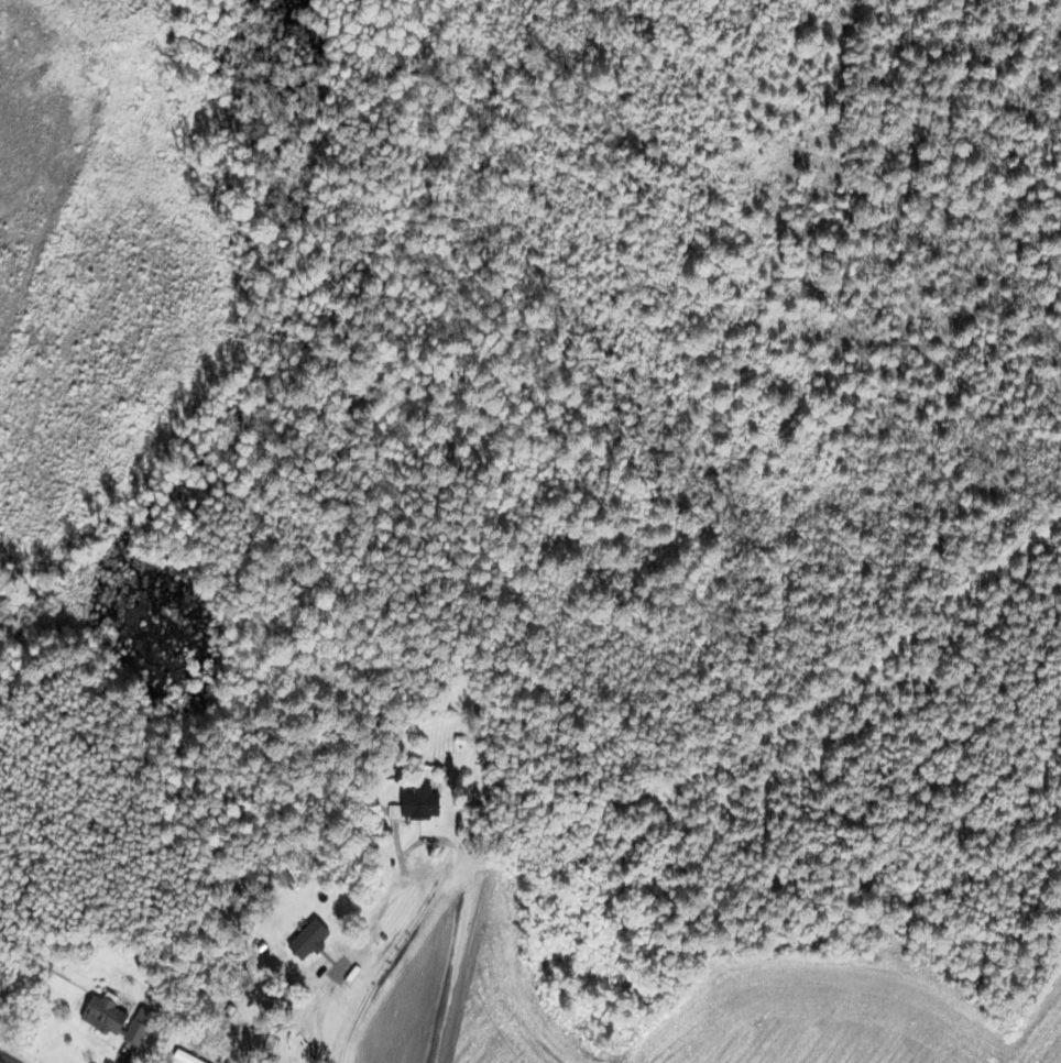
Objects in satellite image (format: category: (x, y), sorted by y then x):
building: (393, 770)
building: (412, 806)
road: (430, 836)
building: (304, 942)
building: (99, 1017)
building: (134, 1029)
road: (7, 1059)

